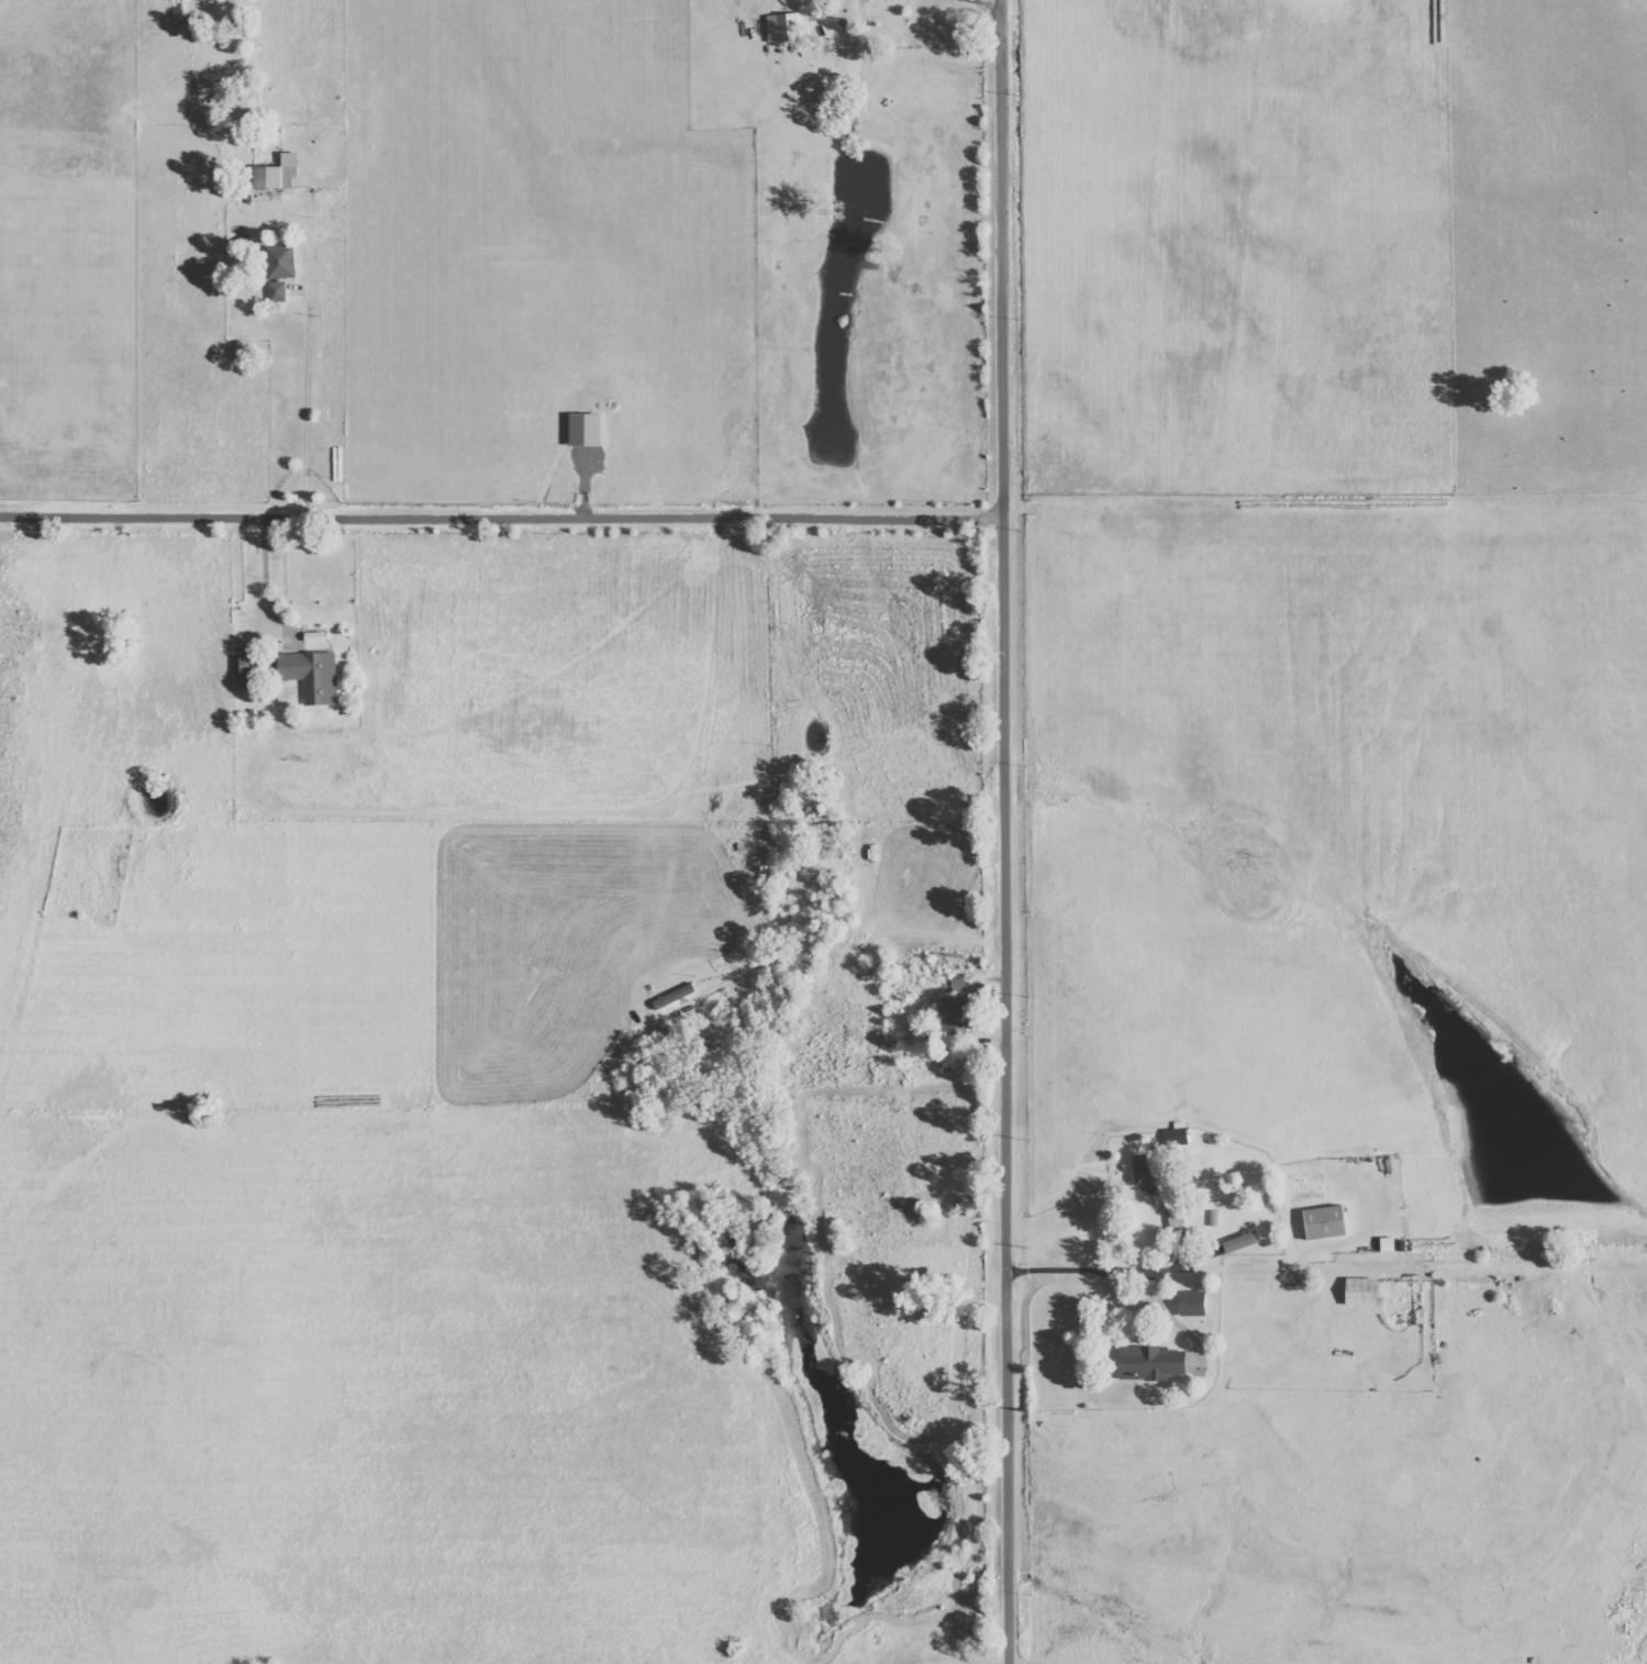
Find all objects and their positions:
building: (783, 27)
building: (277, 173)
building: (280, 271)
road: (502, 518)
building: (245, 673)
building: (312, 675)
road: (1005, 831)
building: (958, 984)
building: (954, 1017)
building: (1146, 1177)
building: (1324, 1222)
building: (1361, 1291)
building: (1192, 1304)
building: (1151, 1363)

